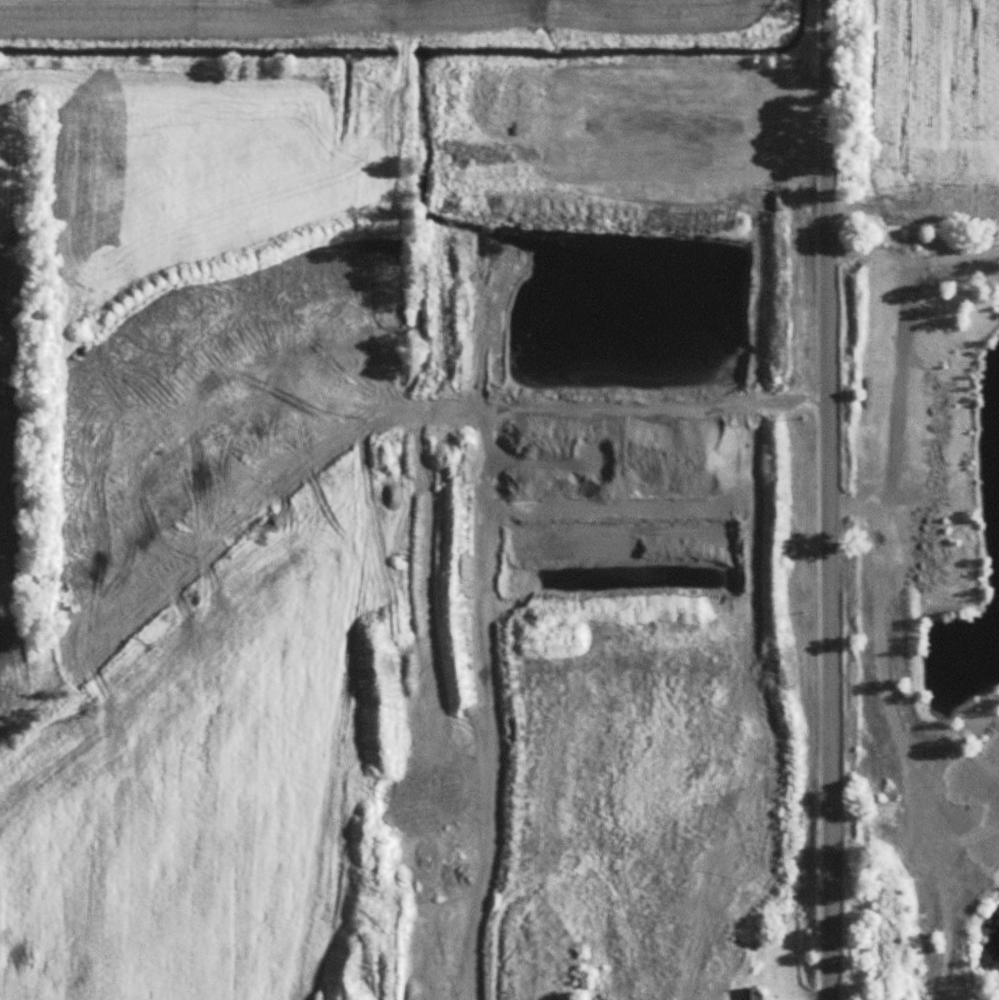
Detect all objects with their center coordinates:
road: (911, 254)
road: (831, 499)
building: (751, 993)

